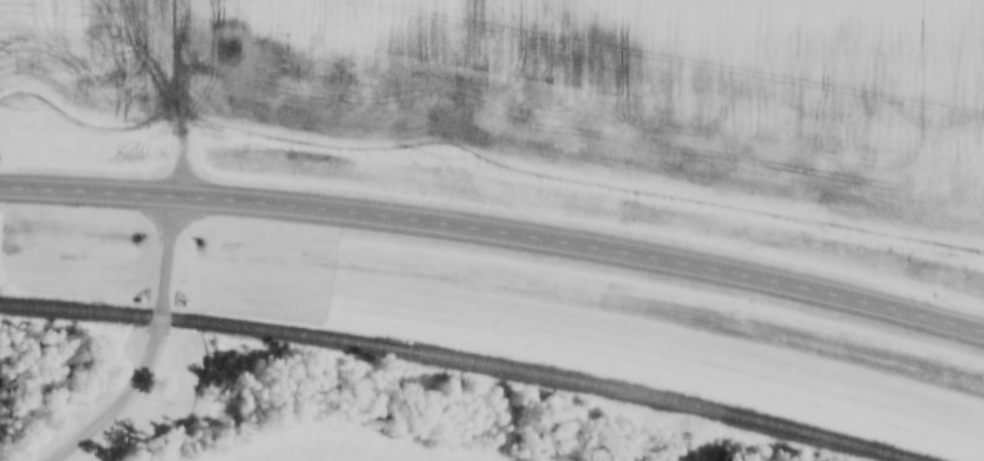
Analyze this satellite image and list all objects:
road: (495, 236)
road: (154, 348)
railway: (460, 359)

